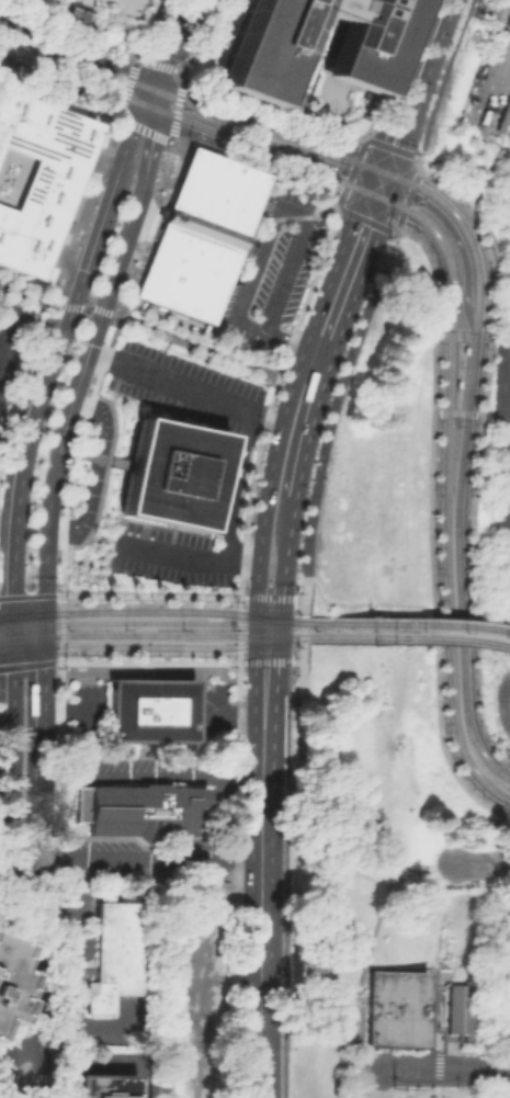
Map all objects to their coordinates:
road: (0, 2)
road: (474, 2)
building: (114, 11)
parking lot: (114, 11)
road: (42, 15)
building: (73, 16)
road: (73, 16)
road: (97, 36)
road: (168, 41)
building: (362, 48)
road: (76, 53)
road: (154, 65)
road: (440, 77)
road: (72, 82)
traffic signals: (154, 82)
road: (411, 82)
road: (494, 83)
parking lot: (487, 86)
road: (149, 95)
road: (177, 106)
traffic signals: (146, 111)
road: (212, 121)
road: (268, 125)
road: (197, 131)
road: (147, 132)
road: (362, 136)
road: (486, 137)
road: (124, 150)
road: (415, 155)
road: (356, 157)
road: (100, 162)
road: (417, 162)
road: (286, 163)
road: (256, 165)
traffic signals: (384, 168)
road: (417, 170)
road: (486, 173)
building: (34, 176)
road: (378, 182)
road: (348, 186)
road: (505, 190)
traffic signals: (374, 197)
road: (406, 197)
road: (136, 203)
road: (336, 206)
road: (458, 217)
road: (370, 222)
road: (395, 228)
road: (390, 230)
building: (197, 235)
road: (68, 253)
railway: (474, 258)
road: (4, 285)
railway: (451, 288)
road: (34, 297)
road: (81, 307)
road: (136, 322)
road: (8, 327)
road: (267, 332)
railway: (457, 340)
road: (186, 341)
parking lot: (12, 342)
road: (297, 344)
road: (332, 346)
road: (227, 356)
road: (101, 362)
road: (263, 371)
road: (286, 398)
road: (39, 399)
road: (270, 399)
road: (509, 403)
railway: (456, 406)
road: (236, 409)
road: (455, 410)
road: (68, 411)
road: (455, 414)
road: (329, 415)
road: (473, 456)
road: (92, 469)
building: (171, 472)
road: (103, 473)
road: (441, 496)
road: (7, 523)
road: (431, 525)
road: (458, 547)
road: (186, 557)
road: (284, 558)
road: (45, 571)
road: (26, 595)
road: (148, 595)
road: (269, 596)
road: (298, 598)
road: (363, 603)
road: (284, 608)
traffic signals: (44, 610)
road: (27, 611)
road: (5, 613)
traffic signals: (12, 613)
traffic signals: (267, 615)
railway: (203, 621)
railway: (458, 624)
road: (59, 627)
road: (43, 629)
road: (238, 629)
road: (12, 632)
railway: (203, 634)
railway: (458, 637)
road: (302, 638)
traffic signals: (265, 642)
traffic signals: (43, 647)
road: (27, 648)
road: (282, 649)
road: (5, 650)
traffic signals: (12, 650)
road: (59, 657)
road: (237, 658)
road: (264, 659)
road: (56, 660)
road: (148, 660)
road: (264, 660)
road: (295, 660)
road: (239, 661)
road: (26, 665)
road: (299, 683)
road: (285, 692)
road: (502, 703)
building: (148, 709)
road: (66, 710)
road: (43, 717)
road: (151, 776)
building: (137, 811)
road: (43, 823)
road: (506, 834)
road: (332, 856)
road: (151, 859)
road: (481, 863)
road: (5, 870)
road: (10, 874)
road: (446, 874)
road: (56, 879)
road: (229, 879)
road: (400, 884)
road: (293, 895)
road: (259, 901)
building: (114, 952)
road: (362, 974)
road: (42, 977)
road: (70, 991)
building: (394, 1007)
building: (456, 1008)
building: (509, 1019)
road: (4, 1046)
road: (25, 1046)
road: (111, 1060)
parking lot: (480, 1060)
road: (369, 1071)
road: (411, 1072)
road: (478, 1073)
building: (103, 1086)
road: (382, 1088)
building: (494, 1096)

